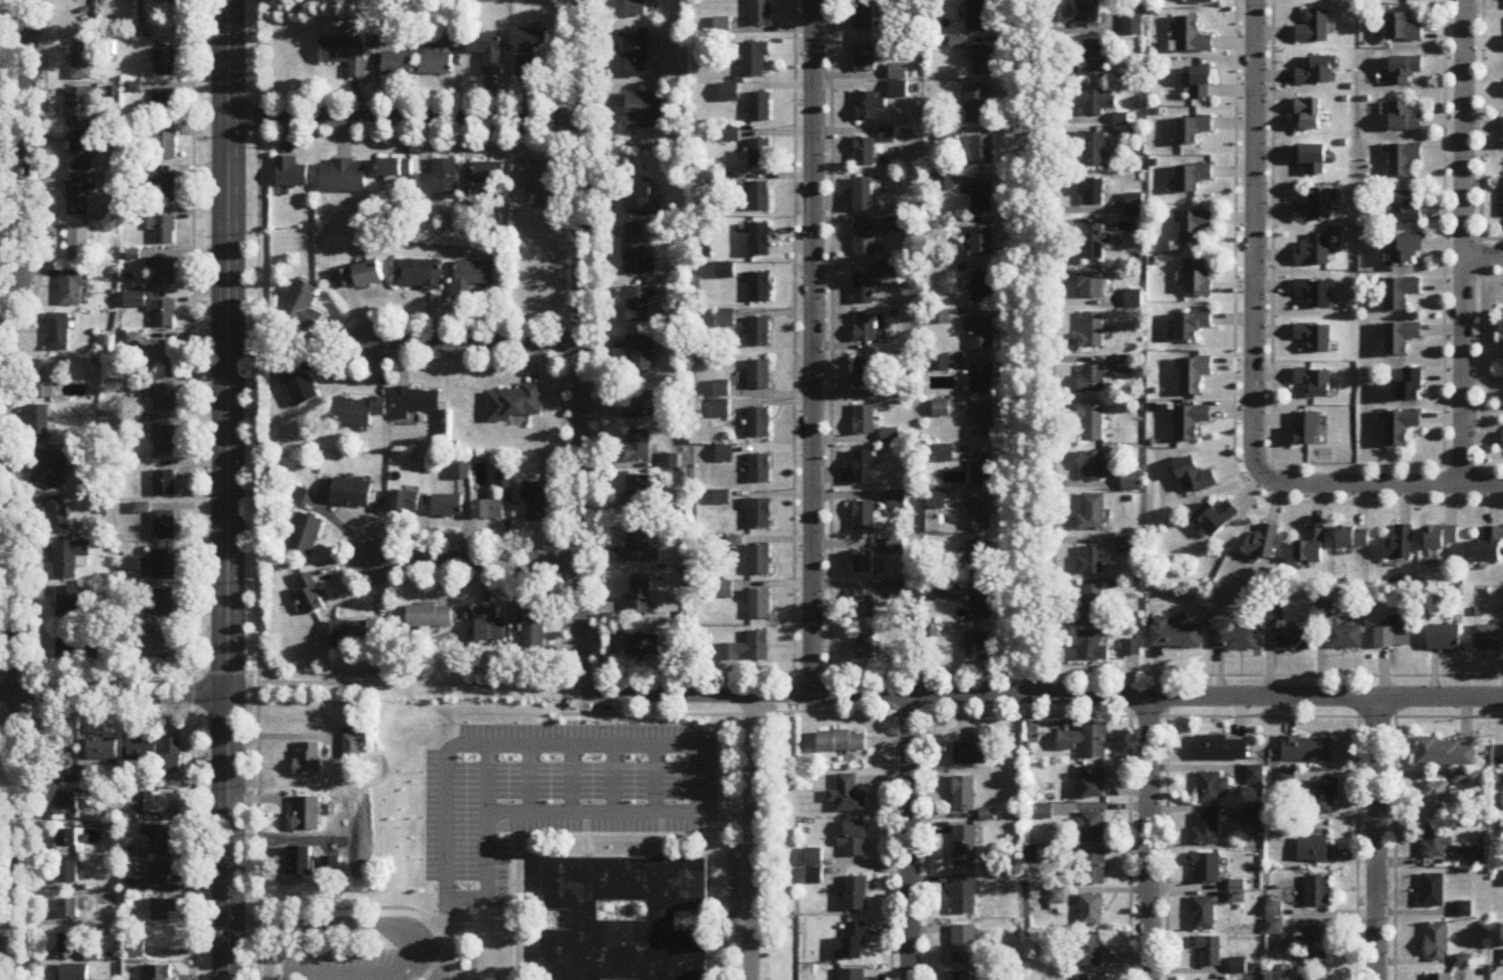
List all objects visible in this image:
building: (1199, 1)
building: (636, 9)
building: (761, 13)
building: (1089, 14)
building: (865, 15)
building: (980, 15)
building: (1315, 29)
building: (1403, 30)
building: (1193, 38)
building: (529, 52)
building: (488, 53)
building: (636, 54)
building: (346, 56)
building: (866, 59)
building: (1093, 59)
building: (756, 61)
building: (82, 62)
building: (983, 62)
building: (165, 64)
building: (398, 66)
building: (436, 66)
building: (1404, 70)
building: (1318, 72)
building: (898, 82)
building: (1202, 85)
road: (454, 91)
building: (730, 94)
building: (1096, 104)
building: (164, 106)
building: (979, 107)
building: (867, 108)
building: (761, 109)
building: (80, 110)
building: (643, 112)
road: (405, 116)
building: (1309, 116)
building: (1404, 119)
road: (562, 130)
road: (1480, 130)
building: (1193, 131)
building: (888, 136)
building: (161, 147)
building: (984, 151)
building: (1093, 151)
building: (82, 152)
building: (865, 153)
building: (761, 155)
building: (1312, 160)
building: (1404, 160)
road: (30, 166)
building: (395, 169)
building: (291, 175)
building: (488, 175)
building: (343, 178)
building: (1193, 178)
building: (440, 180)
building: (533, 181)
building: (163, 189)
building: (1092, 193)
building: (863, 196)
building: (77, 197)
building: (760, 198)
building: (641, 200)
building: (983, 200)
building: (1135, 206)
building: (1316, 208)
building: (1409, 208)
building: (1194, 228)
building: (162, 230)
road: (1442, 233)
road: (1252, 238)
building: (761, 241)
building: (865, 241)
building: (983, 242)
building: (1094, 242)
road: (1463, 242)
building: (79, 243)
building: (1406, 251)
building: (1314, 253)
building: (638, 254)
road: (1475, 256)
road: (1483, 257)
building: (887, 270)
building: (726, 272)
building: (164, 274)
building: (418, 276)
building: (360, 277)
building: (471, 278)
building: (1198, 279)
building: (1091, 285)
building: (73, 286)
building: (761, 288)
building: (983, 289)
building: (863, 290)
building: (1315, 294)
building: (1401, 294)
building: (640, 305)
building: (302, 307)
building: (164, 314)
building: (1502, 323)
building: (1192, 326)
building: (865, 328)
building: (1093, 332)
building: (58, 333)
building: (760, 333)
building: (981, 333)
road: (1014, 334)
road: (1053, 334)
road: (827, 335)
road: (792, 336)
road: (476, 338)
building: (1314, 339)
building: (1401, 339)
road: (580, 344)
road: (815, 345)
road: (1037, 345)
road: (1271, 348)
road: (561, 352)
building: (162, 355)
road: (458, 355)
building: (640, 355)
road: (1479, 359)
road: (599, 363)
building: (866, 374)
road: (1233, 374)
building: (760, 376)
building: (1194, 376)
building: (45, 378)
building: (1093, 380)
building: (983, 381)
building: (302, 383)
building: (1315, 383)
building: (1411, 386)
building: (164, 398)
building: (416, 404)
building: (515, 404)
building: (641, 409)
building: (722, 411)
building: (358, 412)
building: (865, 421)
building: (1092, 423)
building: (1192, 423)
building: (983, 424)
building: (759, 425)
building: (37, 426)
building: (1401, 429)
building: (1307, 431)
building: (164, 440)
building: (638, 447)
building: (946, 455)
building: (1091, 467)
building: (864, 469)
building: (50, 471)
building: (760, 471)
building: (982, 472)
building: (952, 478)
building: (1195, 479)
building: (1131, 482)
building: (162, 485)
road: (1380, 485)
road: (256, 489)
road: (192, 490)
road: (226, 490)
building: (352, 495)
building: (640, 496)
building: (299, 499)
building: (722, 500)
building: (896, 502)
building: (937, 502)
building: (405, 503)
building: (538, 503)
building: (447, 508)
building: (489, 511)
building: (1092, 514)
building: (759, 515)
building: (57, 516)
building: (982, 516)
building: (864, 518)
building: (1217, 519)
building: (165, 526)
building: (306, 536)
building: (1354, 539)
building: (1442, 539)
building: (640, 545)
building: (1264, 545)
building: (1400, 546)
building: (1125, 547)
building: (896, 548)
building: (1312, 549)
building: (1490, 549)
road: (561, 556)
road: (477, 557)
building: (69, 560)
building: (978, 561)
building: (760, 562)
building: (1090, 562)
building: (161, 565)
building: (864, 565)
road: (581, 575)
building: (309, 595)
building: (946, 595)
building: (642, 597)
building: (1094, 604)
building: (162, 605)
building: (67, 606)
building: (759, 606)
building: (865, 606)
building: (982, 607)
building: (1324, 610)
building: (429, 617)
building: (489, 627)
building: (534, 632)
building: (351, 635)
building: (1175, 635)
building: (1345, 638)
building: (1394, 638)
building: (1444, 639)
building: (1489, 639)
building: (1236, 641)
building: (1293, 641)
road: (241, 642)
building: (155, 646)
building: (649, 647)
building: (866, 647)
building: (77, 649)
building: (977, 649)
building: (1092, 649)
building: (748, 650)
road: (1032, 669)
road: (128, 672)
road: (1044, 692)
road: (113, 694)
road: (866, 706)
road: (96, 714)
road: (17, 740)
building: (842, 742)
building: (1085, 742)
road: (676, 744)
building: (353, 747)
building: (1221, 748)
building: (142, 749)
building: (976, 749)
building: (102, 750)
building: (1307, 750)
building: (61, 752)
building: (1445, 754)
building: (173, 757)
building: (309, 759)
building: (1094, 783)
building: (1502, 783)
building: (1212, 788)
building: (964, 794)
building: (848, 796)
building: (1321, 798)
road: (1158, 800)
building: (1436, 800)
building: (67, 801)
building: (154, 804)
road: (723, 813)
building: (308, 814)
road: (36, 825)
building: (1092, 828)
building: (1206, 830)
road: (749, 835)
road: (909, 836)
road: (1148, 837)
road: (1374, 837)
building: (67, 838)
building: (159, 838)
building: (855, 840)
building: (1435, 842)
road: (888, 843)
road: (926, 843)
road: (1121, 845)
road: (1346, 845)
road: (1388, 845)
building: (965, 846)
building: (1315, 850)
building: (1477, 858)
building: (814, 867)
building: (1094, 869)
building: (1207, 869)
building: (68, 873)
building: (161, 875)
building: (1432, 891)
building: (1318, 892)
building: (854, 894)
building: (964, 896)
road: (378, 908)
building: (69, 909)
building: (162, 910)
building: (1464, 910)
building: (1091, 911)
building: (1203, 914)
road: (345, 925)
road: (1160, 934)
building: (854, 941)
building: (1437, 942)
building: (69, 943)
building: (1315, 943)
building: (964, 946)
building: (137, 951)
building: (1092, 951)
building: (1209, 951)
building: (73, 972)
building: (159, 973)
road: (360, 973)
road: (436, 975)
building: (851, 975)
building: (964, 976)
building: (1089, 977)
building: (1311, 977)
building: (1440, 977)

